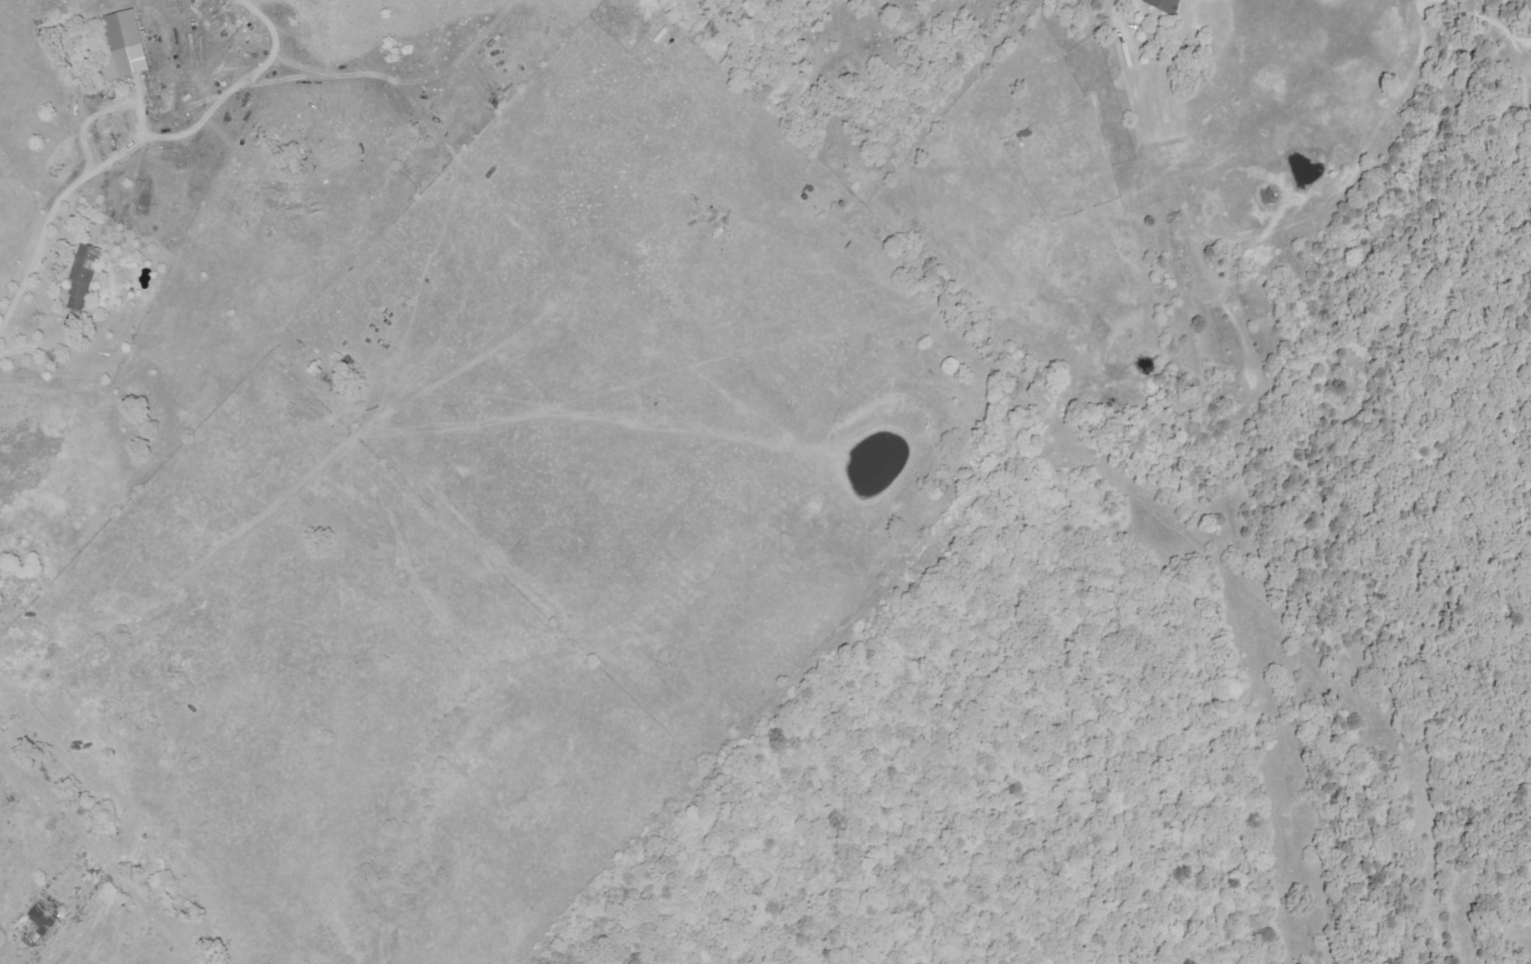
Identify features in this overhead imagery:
building: (1168, 4)
building: (126, 46)
road: (139, 139)
building: (85, 277)
road: (35, 348)

